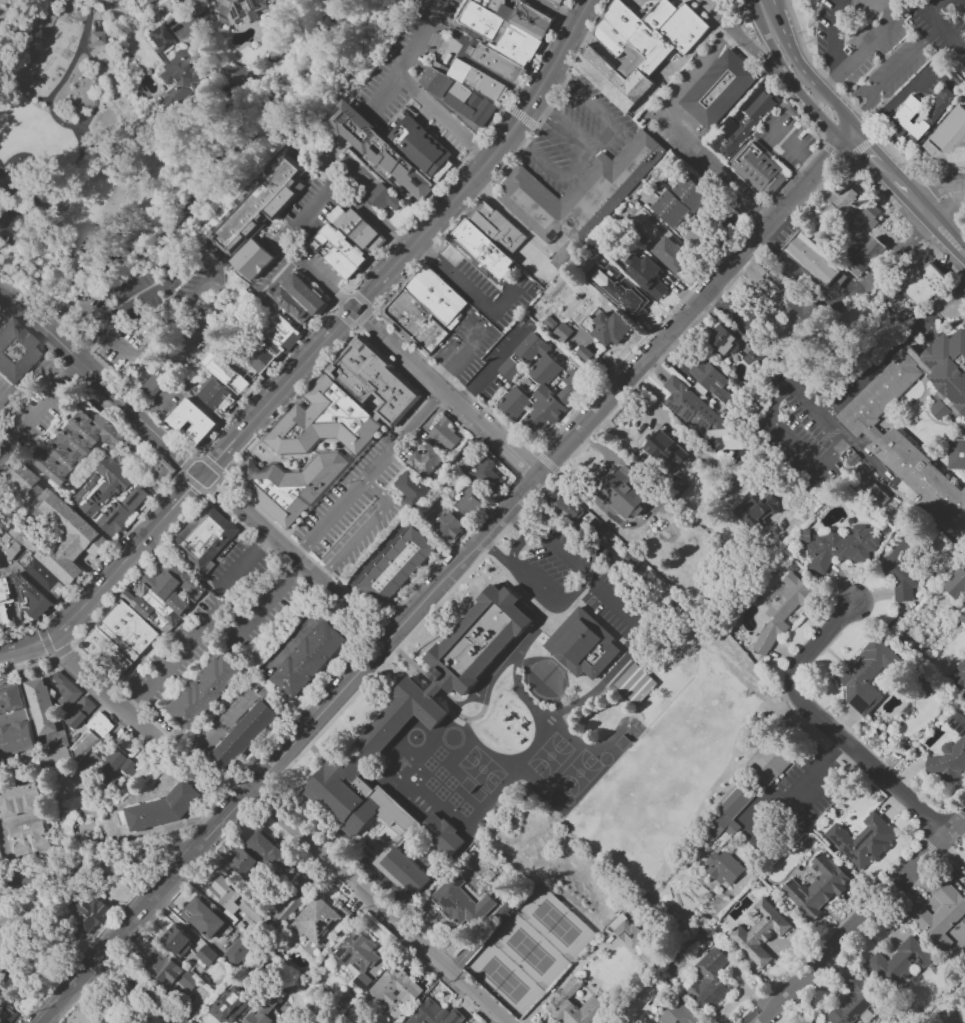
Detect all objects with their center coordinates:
building: (559, 2)
road: (882, 3)
road: (752, 6)
building: (238, 12)
road: (557, 12)
building: (528, 19)
road: (938, 22)
road: (833, 34)
building: (94, 37)
road: (873, 37)
road: (724, 40)
building: (502, 41)
road: (745, 44)
building: (641, 47)
road: (773, 48)
road: (788, 48)
road: (565, 49)
road: (77, 56)
parking lot: (406, 59)
road: (479, 68)
building: (174, 70)
building: (234, 74)
road: (893, 74)
road: (831, 79)
building: (480, 82)
road: (411, 87)
building: (721, 90)
road: (835, 95)
building: (460, 96)
road: (843, 100)
building: (763, 107)
road: (93, 109)
road: (595, 109)
road: (838, 110)
road: (527, 111)
building: (910, 113)
road: (818, 115)
road: (520, 116)
parking lot: (573, 135)
building: (949, 138)
road: (686, 139)
parking lot: (786, 140)
road: (793, 146)
road: (859, 148)
building: (379, 149)
building: (423, 149)
road: (864, 150)
road: (830, 152)
park: (100, 153)
road: (468, 158)
road: (579, 163)
road: (940, 169)
building: (758, 170)
road: (887, 173)
road: (872, 181)
road: (69, 184)
building: (581, 192)
road: (910, 196)
building: (385, 199)
road: (945, 200)
building: (678, 201)
building: (844, 204)
building: (258, 206)
road: (447, 206)
building: (866, 217)
building: (499, 228)
building: (362, 231)
road: (944, 233)
road: (291, 240)
road: (930, 242)
road: (424, 250)
building: (340, 252)
building: (483, 252)
building: (669, 255)
building: (862, 255)
building: (811, 259)
building: (256, 261)
road: (76, 268)
building: (645, 276)
building: (924, 284)
building: (619, 290)
building: (437, 296)
road: (476, 298)
building: (301, 300)
road: (131, 301)
road: (849, 301)
road: (944, 302)
road: (83, 305)
road: (4, 308)
road: (702, 312)
road: (87, 315)
road: (360, 316)
building: (417, 321)
road: (678, 324)
road: (356, 325)
building: (587, 325)
building: (609, 329)
building: (561, 332)
building: (283, 333)
road: (384, 337)
road: (95, 340)
building: (721, 341)
road: (111, 342)
road: (465, 349)
building: (15, 351)
building: (584, 353)
road: (502, 356)
building: (524, 356)
building: (265, 357)
road: (412, 363)
road: (323, 365)
building: (247, 370)
road: (262, 377)
road: (440, 377)
building: (232, 378)
road: (428, 378)
building: (375, 380)
building: (710, 380)
road: (289, 381)
road: (104, 383)
building: (157, 386)
road: (467, 395)
building: (542, 395)
building: (218, 399)
road: (135, 403)
road: (810, 403)
road: (38, 407)
building: (694, 411)
building: (324, 422)
building: (919, 423)
building: (196, 424)
road: (642, 428)
road: (485, 430)
building: (442, 434)
building: (75, 445)
road: (696, 445)
road: (537, 450)
building: (665, 451)
road: (798, 453)
building: (423, 460)
road: (544, 461)
building: (162, 472)
road: (368, 474)
road: (221, 475)
building: (486, 475)
building: (290, 486)
building: (409, 488)
building: (621, 494)
building: (112, 498)
building: (467, 503)
parking lot: (357, 506)
building: (569, 506)
building: (756, 510)
building: (446, 527)
road: (269, 535)
building: (58, 536)
building: (205, 538)
building: (17, 543)
road: (519, 546)
building: (841, 548)
road: (93, 563)
building: (631, 563)
building: (0, 565)
building: (402, 567)
road: (139, 568)
building: (42, 575)
road: (108, 575)
building: (900, 578)
parking lot: (580, 582)
building: (955, 584)
building: (174, 585)
building: (5, 590)
road: (576, 591)
building: (30, 598)
road: (606, 599)
building: (154, 601)
road: (257, 605)
building: (143, 609)
building: (781, 612)
road: (410, 616)
building: (3, 617)
parking lot: (216, 626)
road: (416, 626)
road: (202, 628)
building: (477, 639)
building: (120, 640)
building: (581, 645)
road: (48, 653)
building: (310, 661)
road: (62, 672)
building: (958, 674)
building: (866, 676)
building: (635, 684)
building: (203, 691)
building: (67, 692)
road: (104, 692)
building: (11, 700)
building: (42, 707)
building: (80, 712)
road: (827, 727)
building: (89, 736)
building: (246, 736)
park: (414, 737)
park: (625, 738)
building: (16, 739)
building: (950, 753)
park: (549, 757)
park: (604, 759)
building: (90, 761)
building: (766, 763)
road: (820, 765)
building: (114, 768)
park: (481, 770)
park: (577, 773)
park: (471, 790)
building: (381, 791)
park: (549, 796)
park: (567, 800)
building: (20, 801)
building: (163, 811)
building: (727, 813)
road: (12, 822)
building: (30, 838)
building: (862, 841)
building: (268, 851)
road: (7, 861)
building: (241, 861)
road: (101, 863)
building: (722, 868)
road: (176, 871)
building: (963, 878)
building: (300, 884)
building: (816, 887)
building: (232, 901)
building: (462, 903)
road: (377, 907)
building: (88, 914)
building: (941, 915)
building: (202, 918)
road: (862, 920)
building: (314, 921)
park: (552, 922)
building: (625, 931)
building: (759, 932)
building: (175, 940)
park: (526, 951)
building: (235, 952)
building: (205, 955)
building: (356, 957)
building: (898, 962)
building: (158, 964)
park: (500, 979)
building: (709, 979)
building: (186, 981)
building: (394, 991)
road: (136, 992)
building: (854, 1003)
building: (229, 1005)
building: (572, 1006)
building: (261, 1011)
building: (429, 1013)
building: (677, 1014)
building: (104, 1021)
building: (807, 1021)

